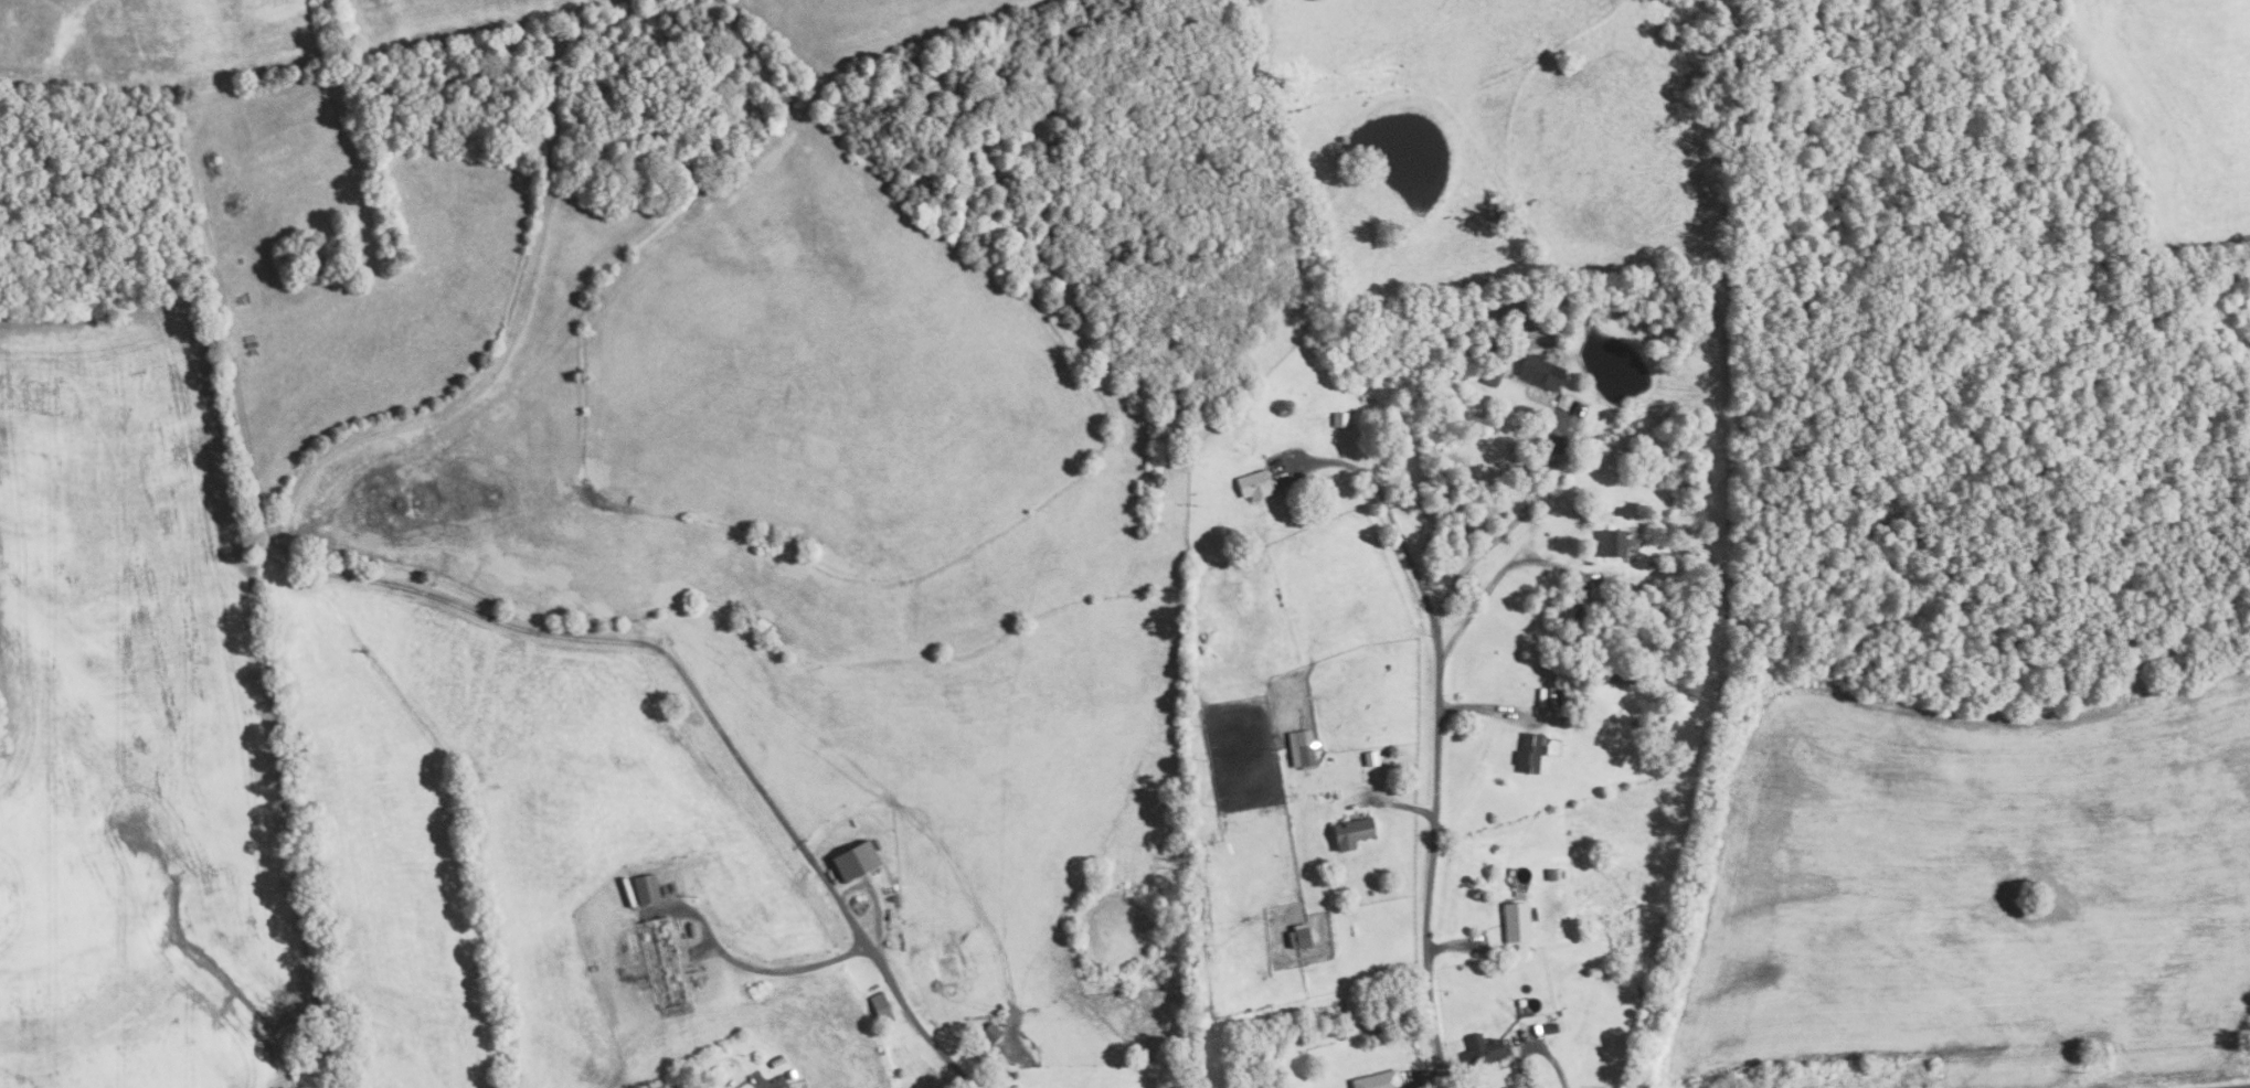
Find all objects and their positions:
crop: (2177, 110)
building: (1499, 354)
building: (1541, 372)
building: (1492, 376)
building: (1563, 402)
building: (1340, 419)
building: (1253, 484)
road: (1399, 537)
building: (1611, 543)
road: (1485, 546)
building: (1199, 548)
road: (1488, 585)
building: (1609, 676)
building: (1625, 680)
building: (1550, 694)
road: (1473, 705)
building: (1302, 749)
building: (1529, 753)
building: (1370, 758)
road: (1400, 807)
building: (1351, 832)
building: (853, 861)
road: (1431, 861)
building: (1556, 874)
building: (645, 889)
building: (1370, 892)
crop: (1975, 896)
building: (1516, 922)
building: (691, 930)
building: (1299, 937)
road: (1456, 943)
road: (872, 957)
building: (661, 962)
building: (880, 1009)
building: (1403, 1017)
building: (1386, 1025)
building: (1377, 1028)
building: (1550, 1028)
building: (989, 1033)
building: (1341, 1035)
building: (1483, 1049)
road: (1535, 1050)
building: (776, 1062)
building: (792, 1073)
road: (1426, 1077)
building: (1378, 1080)

